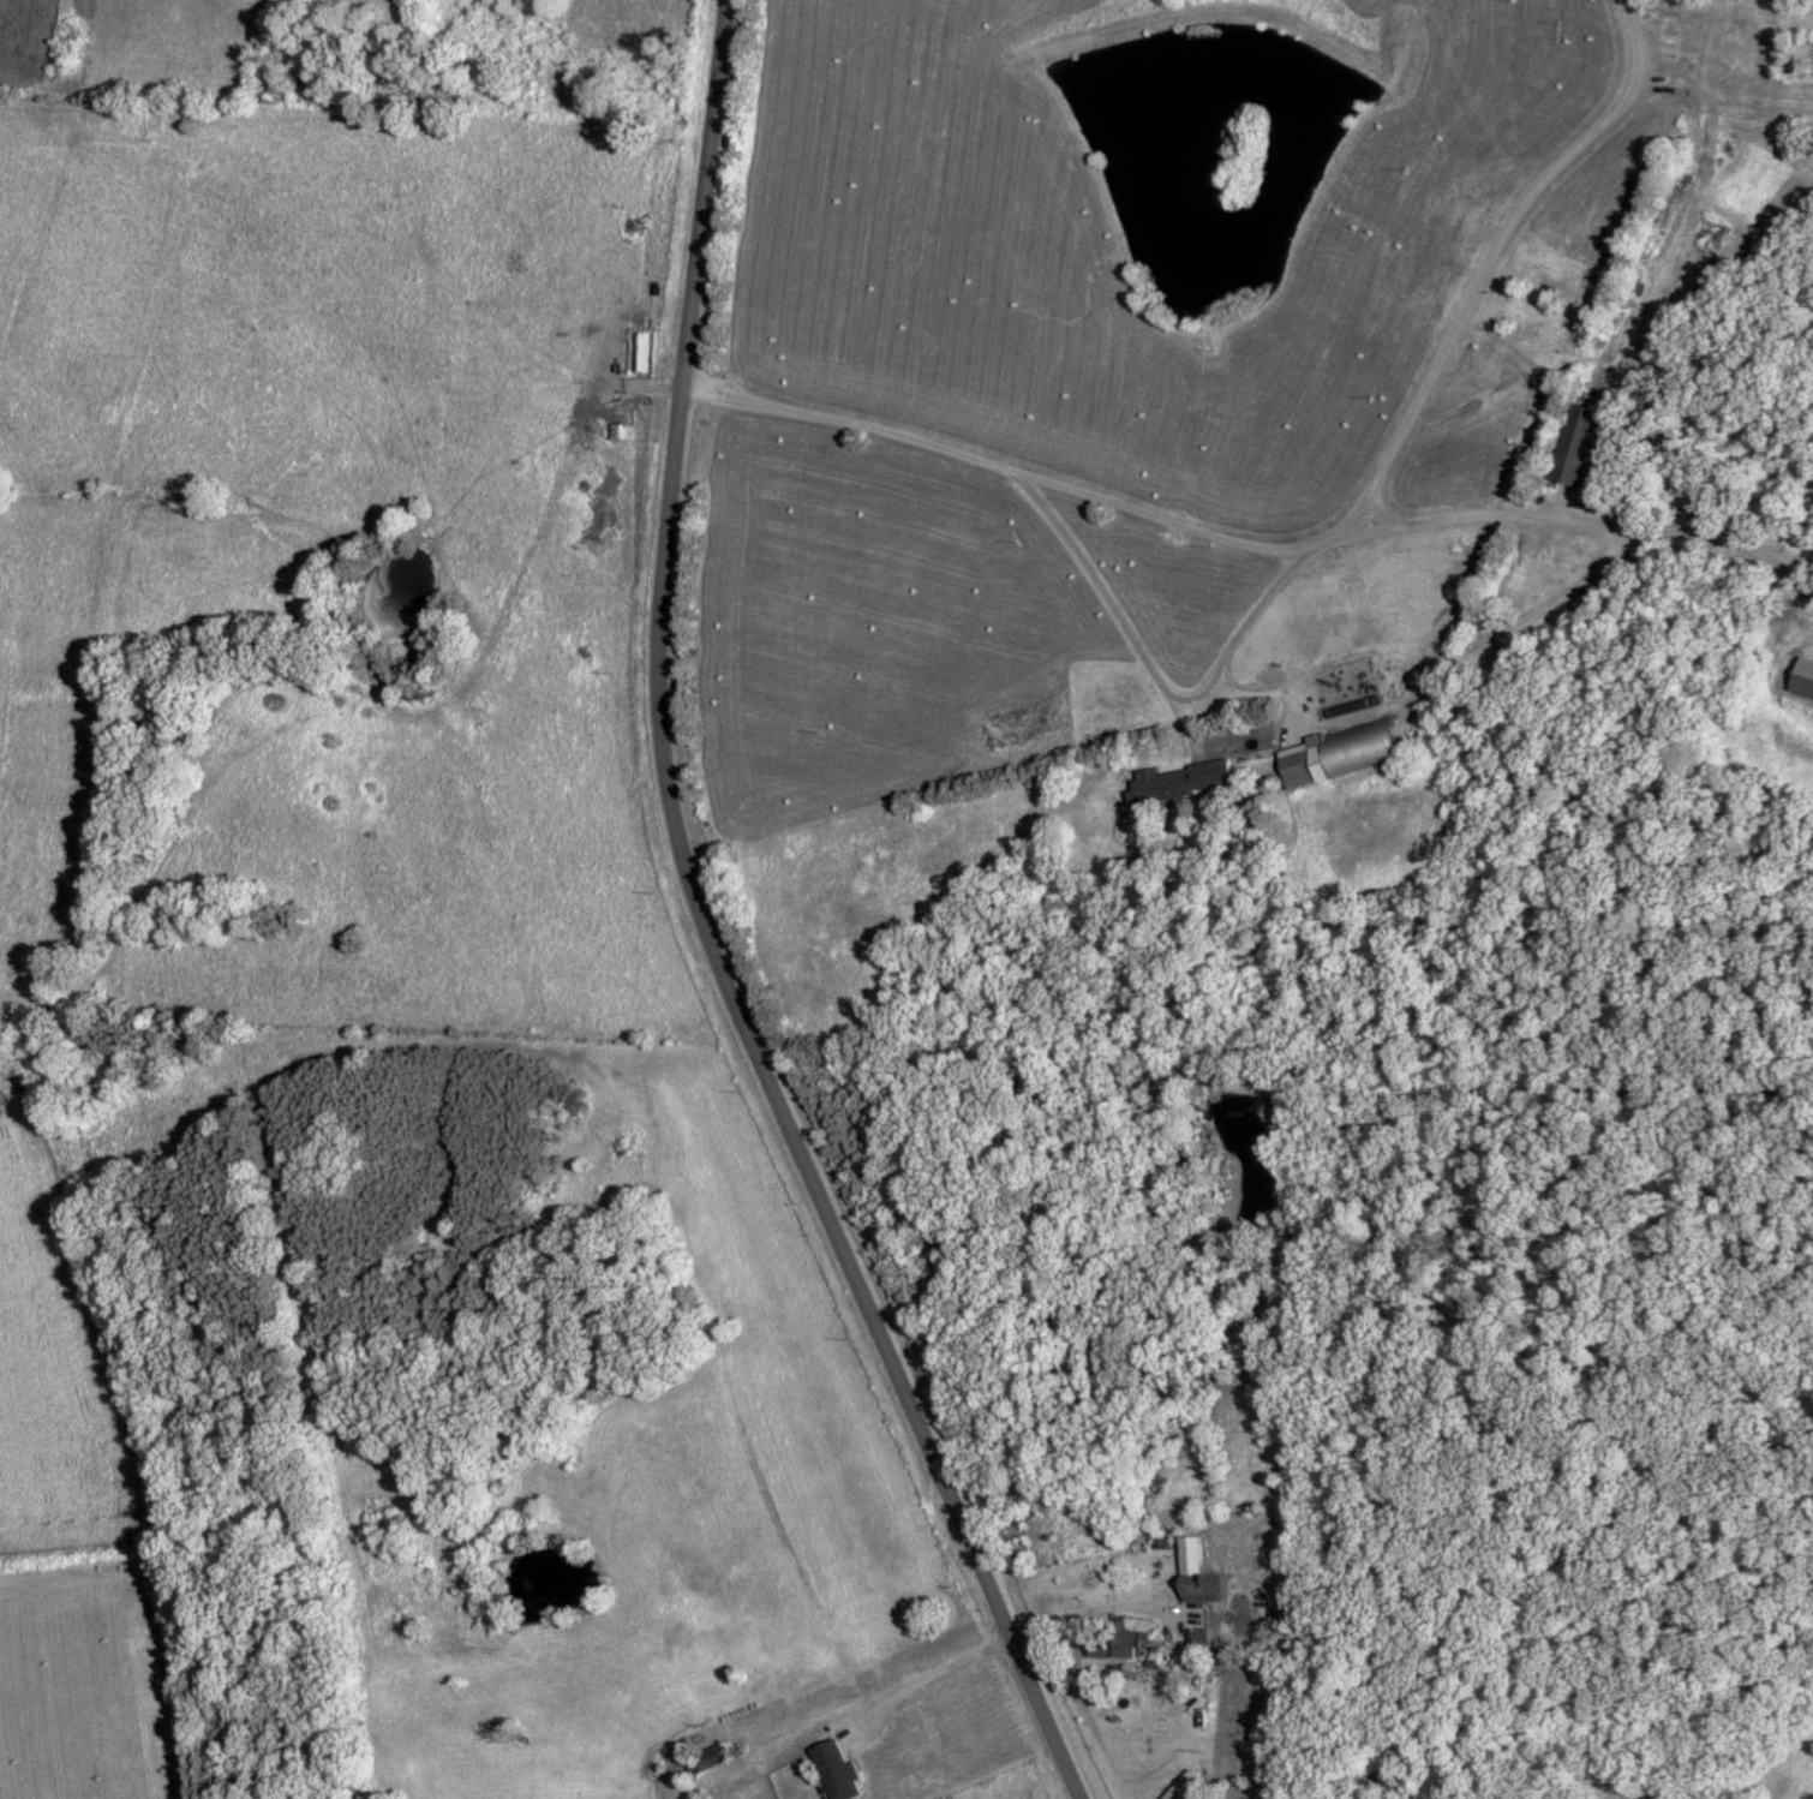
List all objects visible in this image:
building: (1801, 60)
building: (1685, 71)
road: (1501, 246)
road: (1647, 282)
road: (1256, 549)
road: (1441, 667)
road: (1155, 675)
building: (1803, 680)
building: (1365, 748)
building: (1300, 766)
building: (1183, 783)
road: (710, 932)
building: (1202, 1590)
building: (1117, 1642)
road: (1000, 1643)
building: (1198, 1643)
building: (839, 1771)

